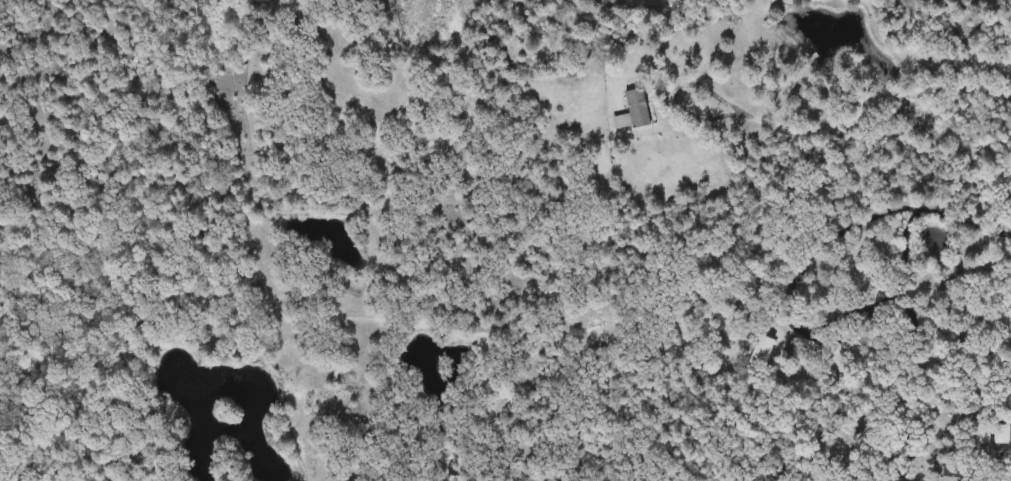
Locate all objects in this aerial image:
building: (631, 112)
road: (849, 120)
road: (938, 211)
building: (727, 332)

